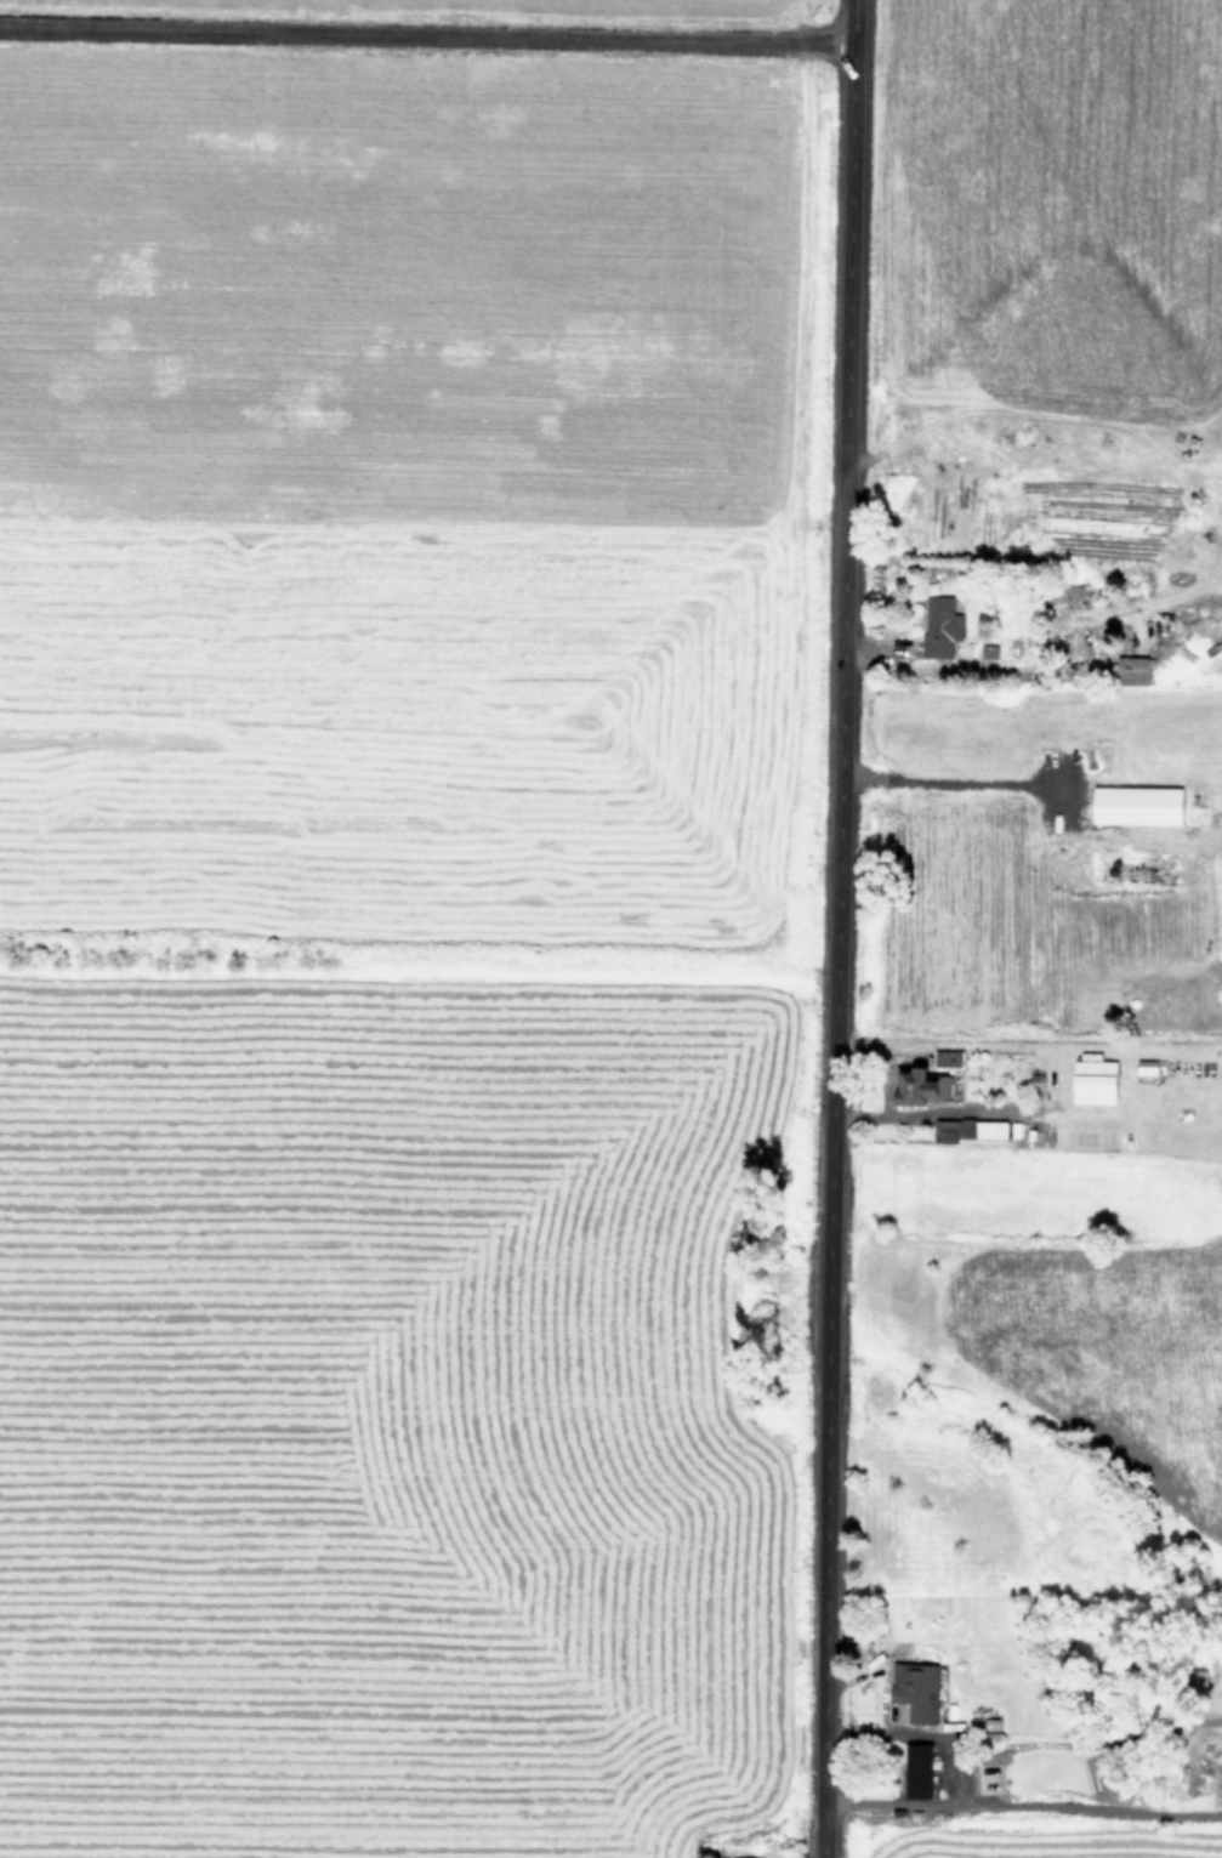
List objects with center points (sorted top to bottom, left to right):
road: (424, 25)
building: (939, 625)
building: (987, 650)
building: (1132, 670)
road: (948, 782)
building: (1135, 805)
crop: (390, 925)
road: (828, 928)
crop: (1044, 932)
building: (945, 1058)
building: (1091, 1081)
building: (910, 1086)
building: (965, 1129)
building: (914, 1691)
building: (915, 1771)

